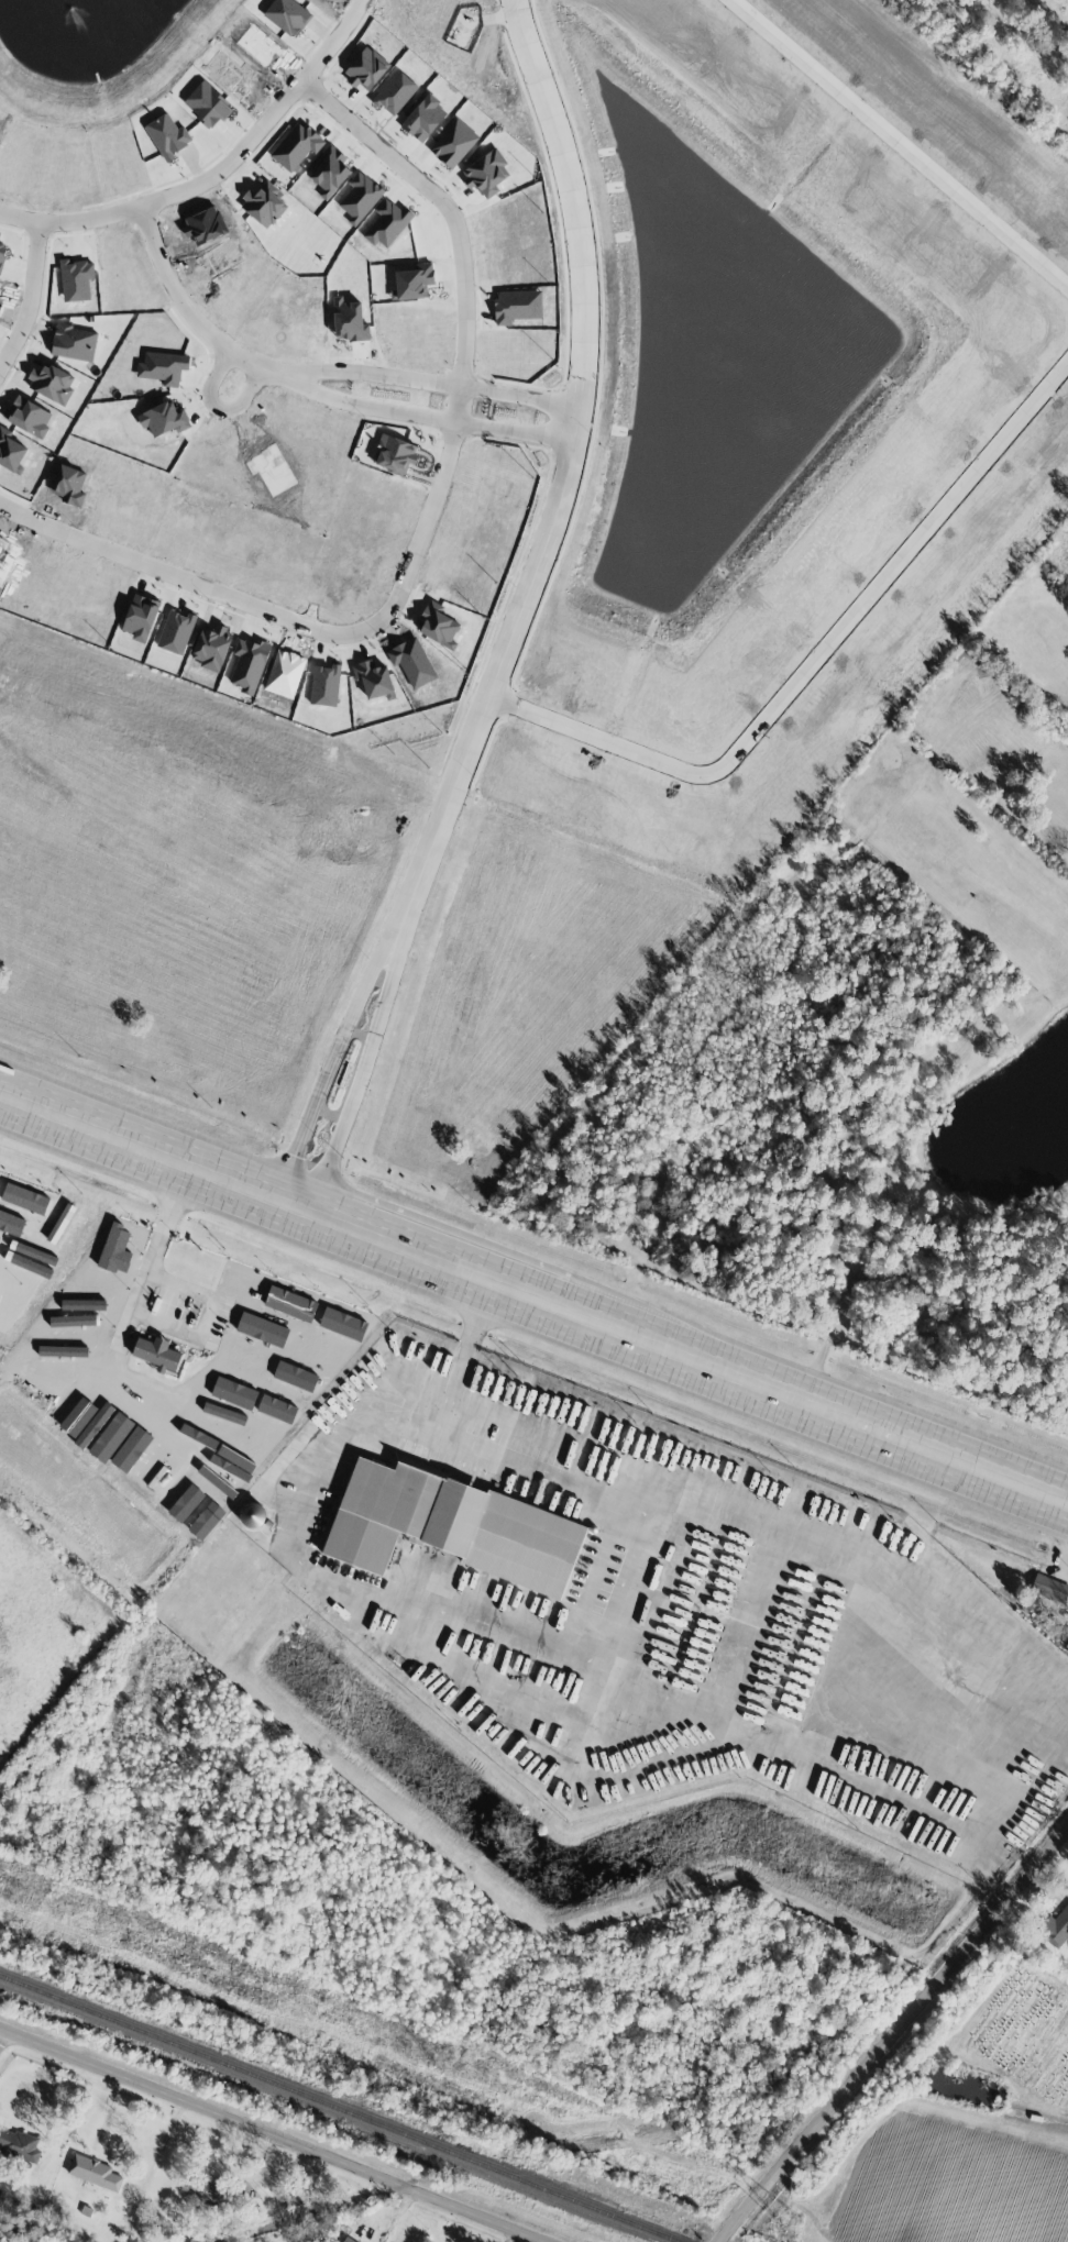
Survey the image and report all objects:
building: (296, 145)
road: (214, 172)
building: (263, 206)
building: (412, 281)
road: (29, 294)
building: (517, 306)
road: (196, 320)
road: (464, 334)
building: (162, 367)
road: (310, 372)
building: (51, 383)
road: (219, 408)
building: (10, 450)
building: (394, 454)
road: (178, 577)
road: (496, 685)
road: (397, 949)
building: (117, 1248)
building: (241, 1284)
building: (89, 1289)
road: (533, 1297)
building: (290, 1303)
building: (126, 1307)
road: (143, 1315)
building: (74, 1319)
building: (340, 1323)
building: (262, 1328)
building: (106, 1334)
building: (65, 1335)
building: (316, 1345)
building: (64, 1349)
building: (156, 1352)
road: (463, 1354)
building: (247, 1358)
building: (56, 1366)
building: (9, 1371)
building: (293, 1373)
building: (233, 1392)
building: (176, 1409)
building: (276, 1409)
building: (63, 1414)
building: (80, 1415)
building: (232, 1424)
building: (93, 1425)
building: (158, 1434)
building: (110, 1436)
building: (131, 1448)
building: (210, 1448)
building: (203, 1460)
building: (150, 1464)
building: (416, 1465)
building: (242, 1476)
building: (185, 1502)
building: (252, 1515)
building: (206, 1520)
building: (451, 1526)
road: (1058, 1559)
building: (1049, 1588)
road: (499, 1631)
building: (1066, 1647)
road: (694, 1720)
power tower: (14, 1892)
building: (1055, 1928)
road: (892, 2040)
road: (12, 2046)
power tower: (438, 2061)
railway: (340, 2108)
road: (276, 2131)
road: (163, 2141)
building: (19, 2145)
building: (92, 2172)
building: (203, 2188)
power tower: (789, 2223)

